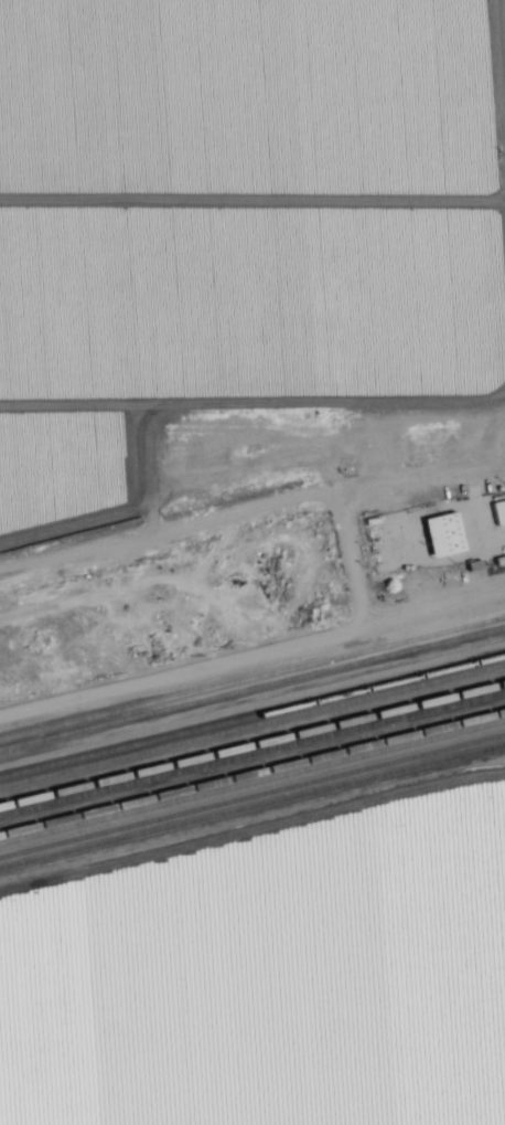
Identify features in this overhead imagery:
road: (499, 68)
crop: (243, 257)
road: (429, 470)
building: (497, 511)
building: (441, 533)
road: (162, 538)
road: (244, 656)
railway: (253, 678)
railway: (253, 687)
railway: (253, 717)
railway: (253, 725)
railway: (253, 745)
railway: (253, 755)
railway: (253, 772)
railway: (253, 782)
railway: (253, 795)
railway: (253, 805)
crop: (270, 977)

